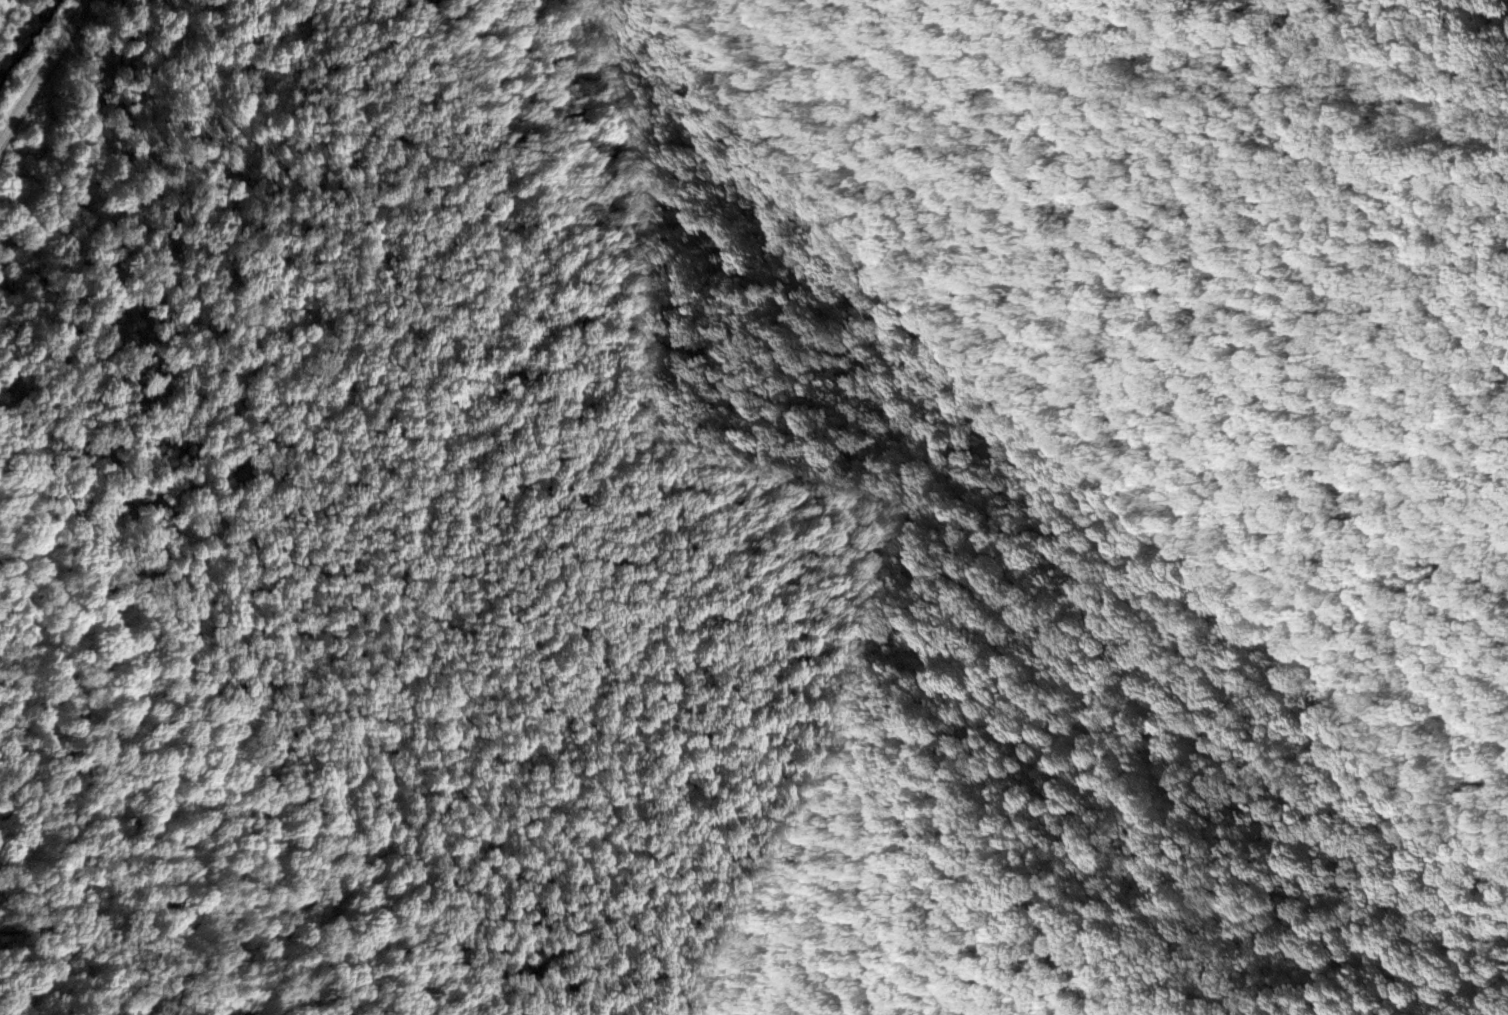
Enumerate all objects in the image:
river: (33, 38)
road: (45, 73)
road: (606, 249)

